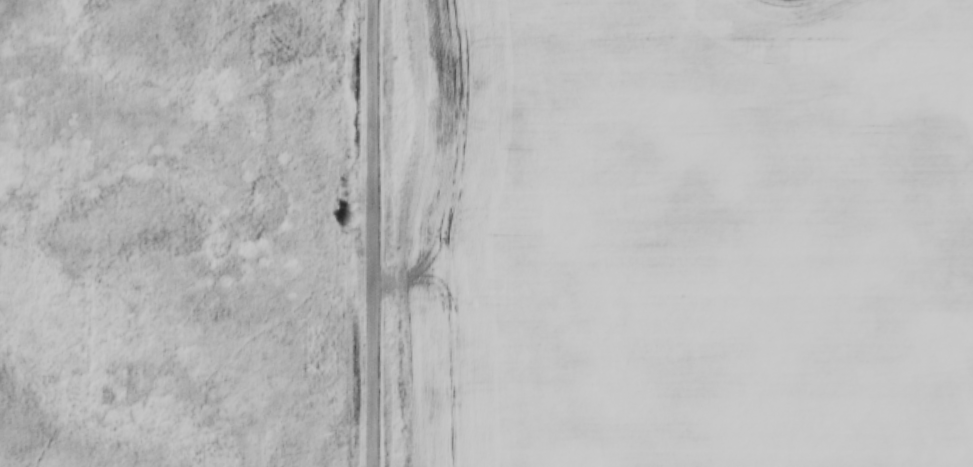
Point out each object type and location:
road: (373, 233)

